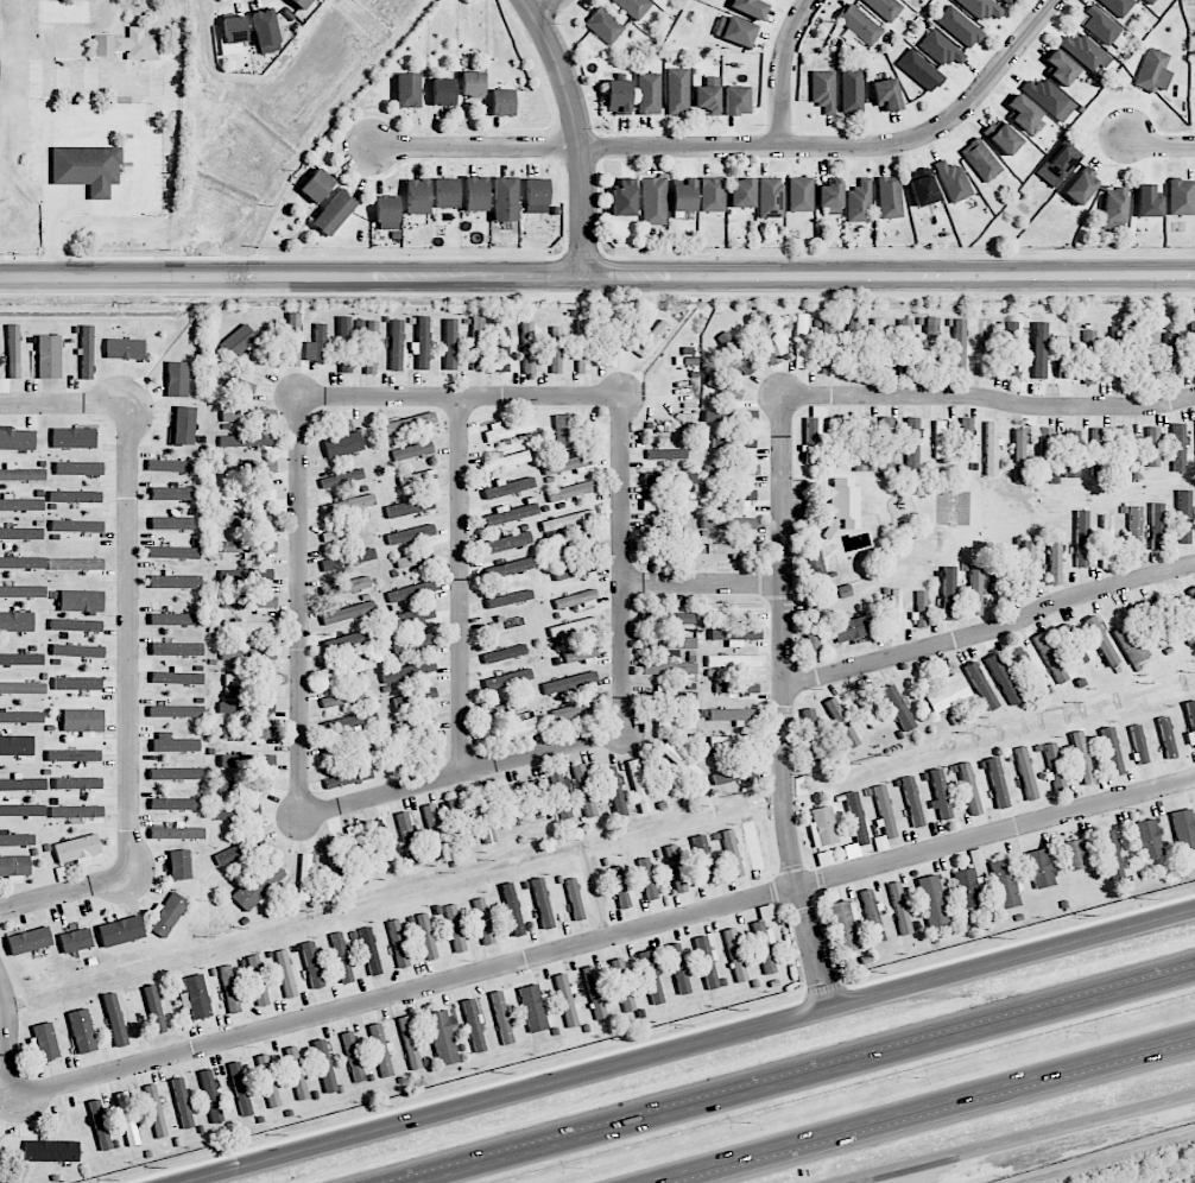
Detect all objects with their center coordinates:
building: (655, 0)
building: (905, 0)
building: (1007, 1)
building: (1150, 1)
building: (301, 4)
building: (1118, 6)
road: (548, 7)
building: (634, 7)
building: (750, 7)
building: (885, 8)
building: (982, 8)
building: (70, 10)
building: (859, 24)
building: (603, 25)
building: (959, 27)
building: (1104, 30)
building: (265, 31)
building: (739, 31)
building: (233, 34)
building: (127, 45)
building: (941, 49)
building: (1085, 51)
building: (1061, 68)
road: (783, 70)
building: (919, 70)
building: (1153, 71)
road: (94, 77)
building: (472, 83)
building: (852, 89)
building: (407, 90)
building: (677, 90)
building: (823, 90)
building: (443, 91)
building: (649, 94)
building: (886, 94)
building: (708, 95)
building: (618, 96)
building: (1049, 99)
building: (735, 100)
building: (501, 102)
building: (1023, 113)
road: (578, 132)
building: (1003, 137)
road: (742, 147)
road: (1159, 147)
building: (981, 159)
building: (1060, 164)
building: (87, 166)
building: (954, 182)
building: (317, 185)
building: (1081, 185)
building: (922, 186)
building: (537, 191)
building: (445, 192)
building: (741, 192)
building: (475, 194)
building: (713, 194)
building: (799, 194)
building: (417, 196)
building: (684, 196)
building: (771, 197)
building: (830, 197)
building: (890, 197)
building: (1182, 197)
building: (505, 198)
building: (624, 198)
building: (655, 201)
building: (859, 202)
building: (1147, 202)
building: (1114, 207)
building: (334, 213)
building: (386, 213)
road: (596, 277)
building: (652, 339)
building: (766, 339)
building: (293, 340)
building: (608, 340)
building: (422, 341)
building: (801, 341)
building: (238, 342)
building: (478, 342)
building: (344, 344)
building: (396, 344)
building: (450, 344)
building: (854, 344)
building: (878, 344)
building: (931, 344)
building: (316, 346)
building: (582, 346)
building: (905, 346)
building: (959, 346)
building: (1193, 346)
building: (371, 347)
building: (527, 347)
building: (827, 347)
building: (985, 347)
building: (125, 348)
building: (1011, 348)
building: (1117, 349)
building: (504, 350)
building: (556, 350)
building: (1039, 350)
building: (13, 352)
building: (87, 352)
building: (736, 353)
building: (1171, 354)
building: (49, 356)
building: (1064, 356)
building: (1089, 356)
building: (177, 379)
building: (234, 384)
building: (725, 386)
road: (459, 396)
road: (988, 399)
road: (64, 403)
building: (248, 416)
building: (731, 416)
building: (410, 423)
building: (184, 425)
building: (506, 431)
building: (565, 432)
building: (813, 432)
building: (74, 437)
building: (965, 438)
building: (17, 439)
building: (940, 439)
building: (835, 441)
building: (860, 443)
building: (887, 443)
building: (343, 444)
building: (912, 444)
building: (1153, 447)
building: (1178, 447)
building: (413, 448)
building: (992, 449)
building: (1098, 451)
building: (1125, 453)
building: (666, 454)
building: (1071, 454)
building: (1020, 455)
building: (1045, 455)
building: (506, 461)
building: (569, 463)
building: (171, 466)
building: (255, 467)
building: (78, 468)
building: (732, 469)
building: (23, 474)
building: (417, 477)
building: (342, 479)
building: (669, 479)
building: (510, 487)
building: (571, 491)
building: (172, 494)
building: (247, 494)
building: (75, 496)
building: (843, 501)
building: (21, 505)
building: (348, 505)
building: (412, 505)
building: (669, 505)
building: (511, 514)
building: (1184, 517)
building: (568, 520)
building: (249, 521)
building: (172, 523)
building: (728, 523)
building: (76, 526)
building: (1158, 526)
building: (663, 530)
building: (20, 533)
building: (340, 533)
building: (1132, 533)
building: (411, 534)
building: (1082, 539)
building: (1107, 542)
building: (507, 543)
building: (248, 548)
building: (729, 549)
building: (173, 552)
building: (666, 556)
building: (813, 558)
building: (1055, 558)
building: (347, 559)
building: (413, 559)
building: (21, 562)
road: (621, 563)
building: (76, 564)
building: (1028, 567)
building: (510, 568)
building: (571, 571)
building: (246, 575)
building: (176, 581)
road: (460, 584)
road: (701, 584)
building: (346, 586)
building: (845, 590)
building: (975, 590)
building: (23, 591)
building: (411, 591)
building: (949, 593)
building: (1193, 593)
building: (508, 599)
building: (576, 599)
building: (81, 601)
building: (249, 602)
road: (298, 607)
building: (734, 608)
building: (921, 609)
building: (896, 612)
building: (348, 613)
building: (413, 615)
building: (175, 619)
building: (679, 619)
building: (15, 621)
building: (1152, 624)
building: (76, 625)
building: (502, 625)
building: (251, 627)
building: (574, 627)
building: (853, 628)
building: (811, 630)
road: (989, 630)
building: (735, 635)
road: (129, 637)
building: (349, 639)
building: (1101, 640)
building: (412, 643)
building: (669, 643)
building: (1131, 643)
building: (1073, 644)
building: (177, 649)
building: (77, 651)
building: (505, 653)
building: (248, 654)
building: (580, 654)
building: (1050, 658)
building: (20, 659)
building: (734, 660)
building: (347, 668)
building: (1022, 668)
building: (669, 669)
building: (176, 677)
building: (1000, 677)
building: (508, 679)
building: (77, 683)
building: (255, 683)
building: (570, 683)
building: (23, 688)
building: (736, 688)
building: (947, 692)
building: (343, 696)
building: (416, 696)
building: (671, 696)
road: (783, 704)
building: (246, 707)
building: (898, 708)
building: (505, 709)
building: (867, 709)
building: (574, 710)
building: (176, 711)
building: (733, 715)
building: (21, 717)
building: (82, 720)
building: (349, 721)
building: (675, 721)
building: (842, 722)
building: (1190, 722)
building: (415, 725)
building: (520, 729)
building: (249, 733)
building: (811, 734)
building: (1166, 738)
building: (173, 744)
building: (15, 745)
building: (734, 745)
building: (1138, 745)
building: (342, 749)
building: (1112, 752)
building: (74, 755)
building: (1082, 758)
building: (247, 760)
building: (681, 760)
building: (1054, 767)
building: (175, 773)
road: (460, 773)
building: (1025, 773)
building: (733, 774)
building: (349, 777)
building: (77, 783)
building: (997, 783)
building: (23, 784)
building: (241, 785)
building: (639, 786)
building: (969, 789)
building: (584, 791)
building: (615, 791)
building: (941, 793)
building: (561, 795)
building: (531, 798)
building: (912, 802)
building: (176, 804)
building: (507, 804)
building: (19, 809)
building: (77, 811)
building: (238, 811)
building: (885, 811)
building: (482, 816)
building: (457, 823)
building: (822, 827)
building: (1184, 829)
building: (434, 830)
building: (177, 833)
building: (407, 839)
building: (1149, 839)
building: (17, 840)
building: (753, 844)
building: (77, 848)
building: (732, 854)
building: (1075, 854)
building: (1111, 855)
building: (703, 859)
building: (824, 859)
building: (179, 865)
building: (14, 867)
building: (675, 868)
building: (1041, 868)
building: (306, 878)
building: (647, 879)
building: (1005, 882)
building: (258, 884)
building: (620, 887)
building: (967, 887)
road: (64, 891)
building: (575, 899)
building: (934, 900)
building: (542, 903)
building: (899, 909)
building: (766, 912)
building: (511, 913)
building: (167, 915)
building: (482, 922)
building: (846, 924)
building: (454, 926)
building: (120, 931)
building: (425, 936)
road: (601, 937)
building: (29, 941)
building: (75, 941)
building: (398, 943)
building: (764, 945)
building: (369, 951)
building: (735, 955)
building: (341, 957)
building: (708, 963)
building: (311, 964)
building: (678, 968)
building: (285, 974)
building: (651, 978)
building: (257, 980)
building: (622, 985)
building: (229, 989)
building: (594, 992)
building: (195, 997)
building: (565, 1000)
building: (533, 1008)
building: (153, 1010)
building: (501, 1017)
building: (114, 1019)
building: (473, 1025)
building: (81, 1031)
road: (11, 1038)
building: (442, 1038)
building: (44, 1040)
building: (409, 1043)
road: (690, 1046)
building: (381, 1051)
building: (353, 1056)
building: (324, 1065)
building: (296, 1073)
road: (811, 1078)
building: (267, 1081)
building: (240, 1088)
building: (182, 1102)
road: (917, 1107)
building: (156, 1111)
building: (127, 1119)
building: (100, 1125)
road: (1020, 1137)
building: (51, 1151)
road: (1107, 1159)

